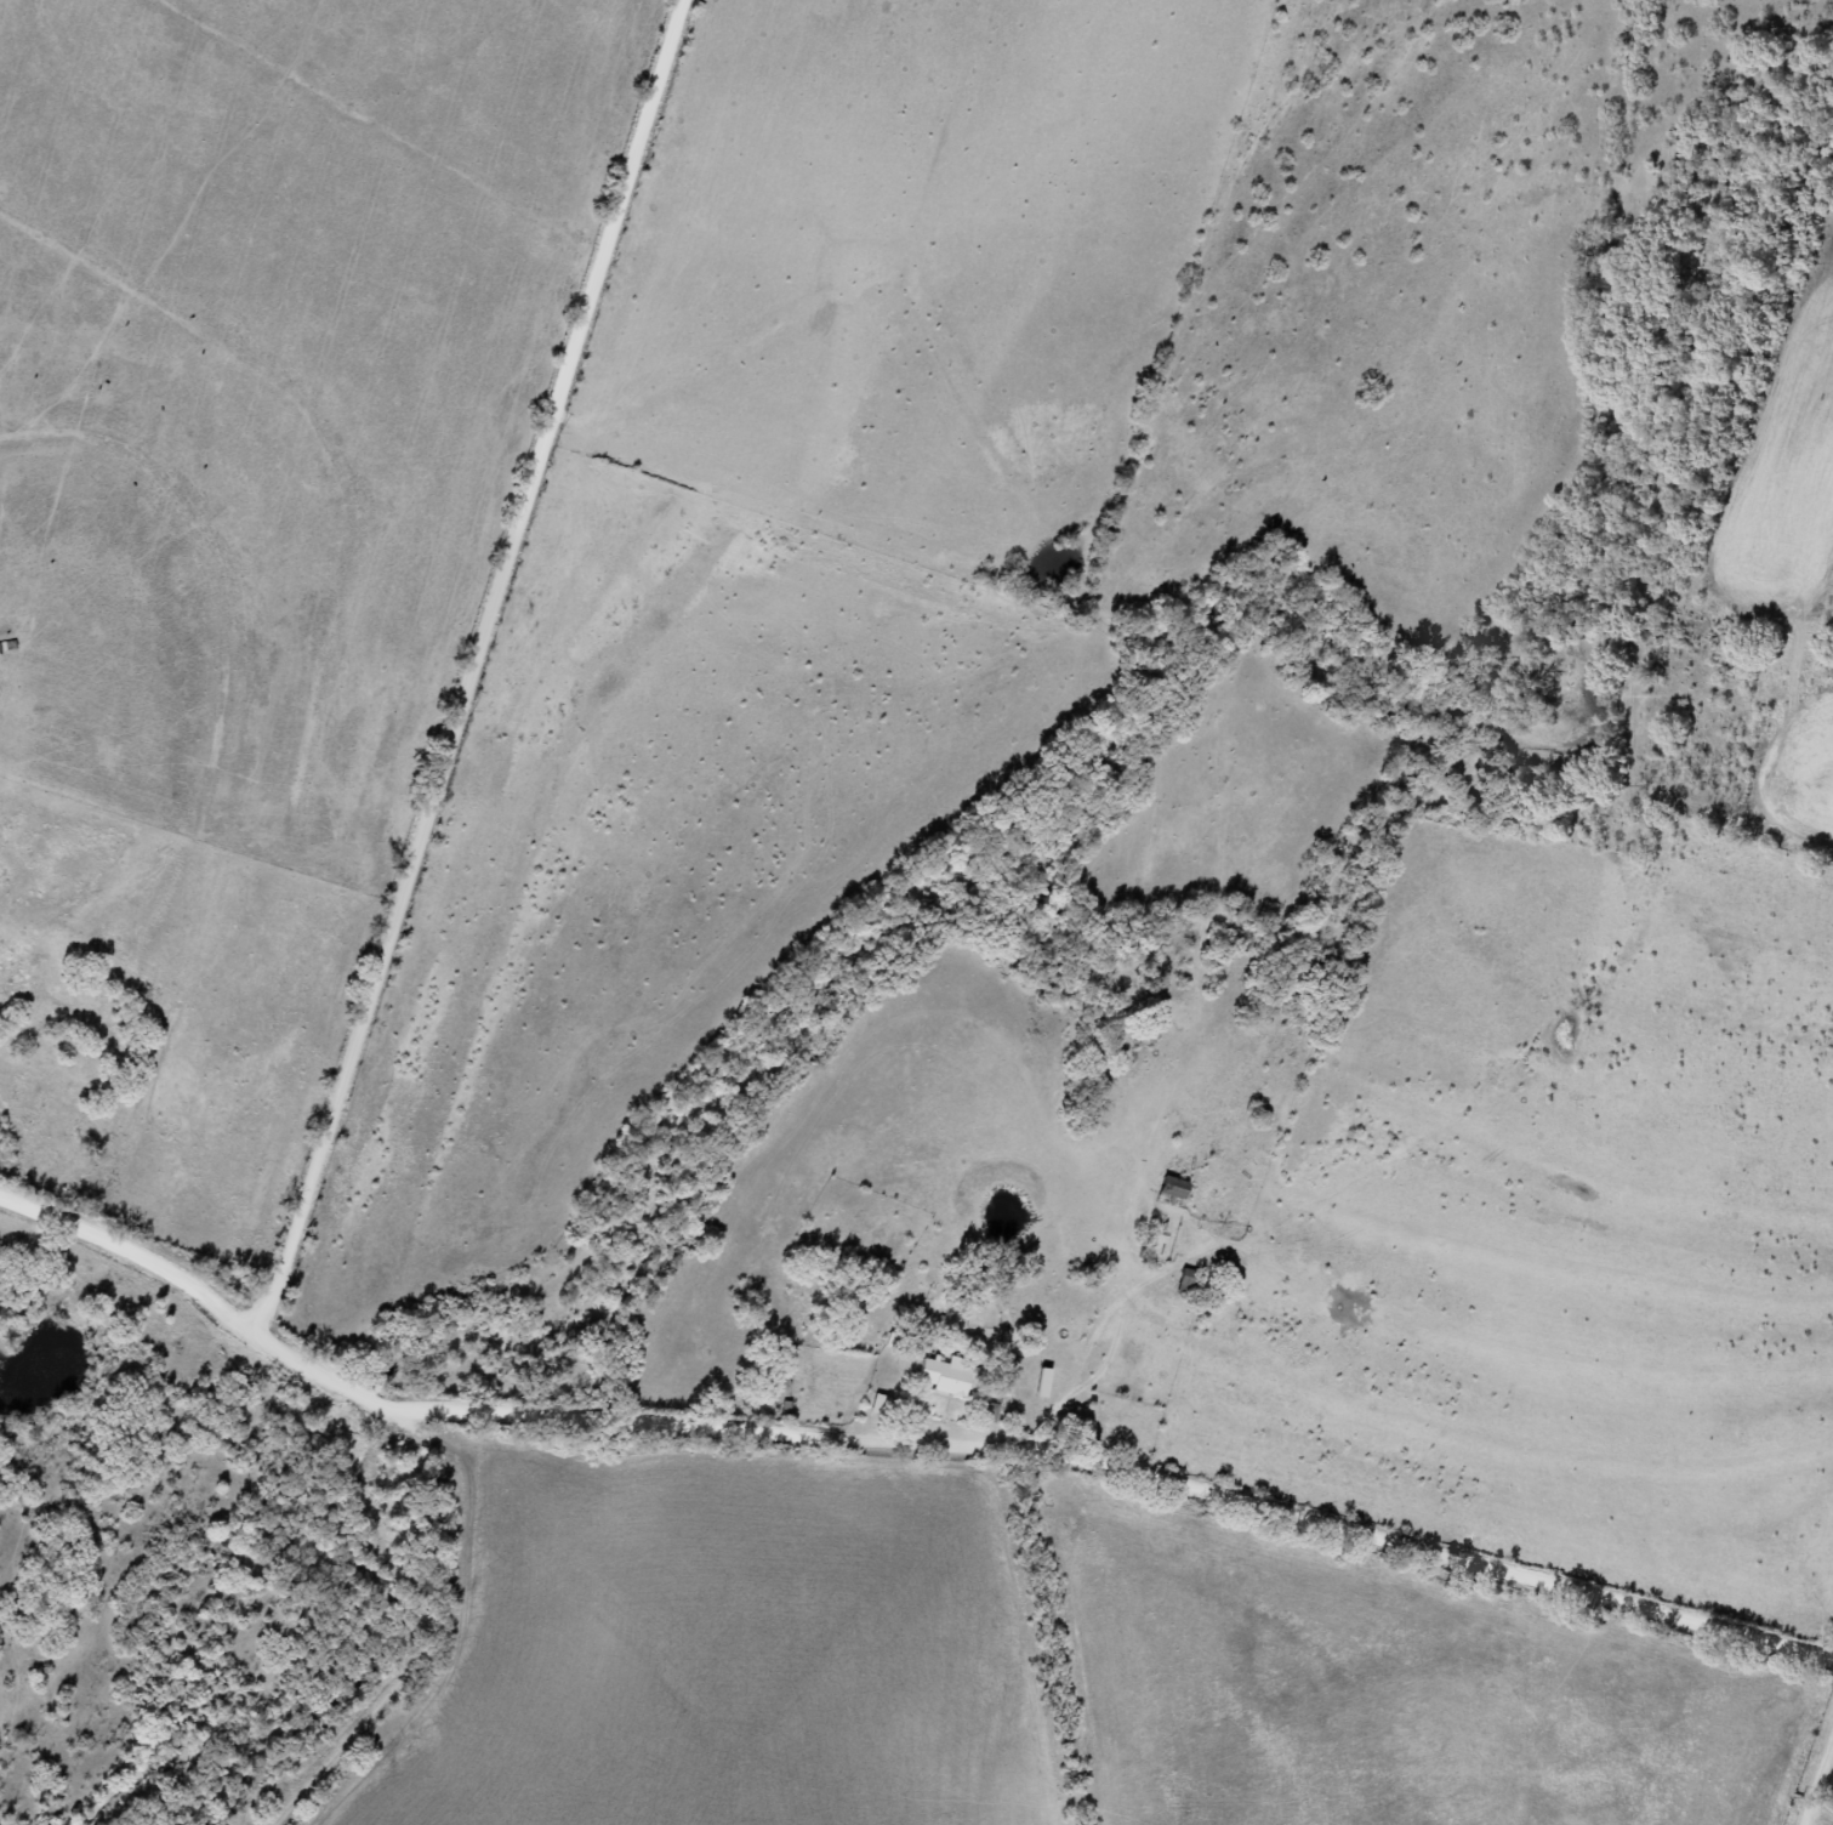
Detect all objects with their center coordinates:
road: (482, 652)
building: (1165, 1190)
road: (135, 1251)
building: (1184, 1281)
road: (317, 1340)
road: (398, 1366)
building: (939, 1371)
building: (1035, 1382)
road: (1139, 1444)
road: (411, 1604)

